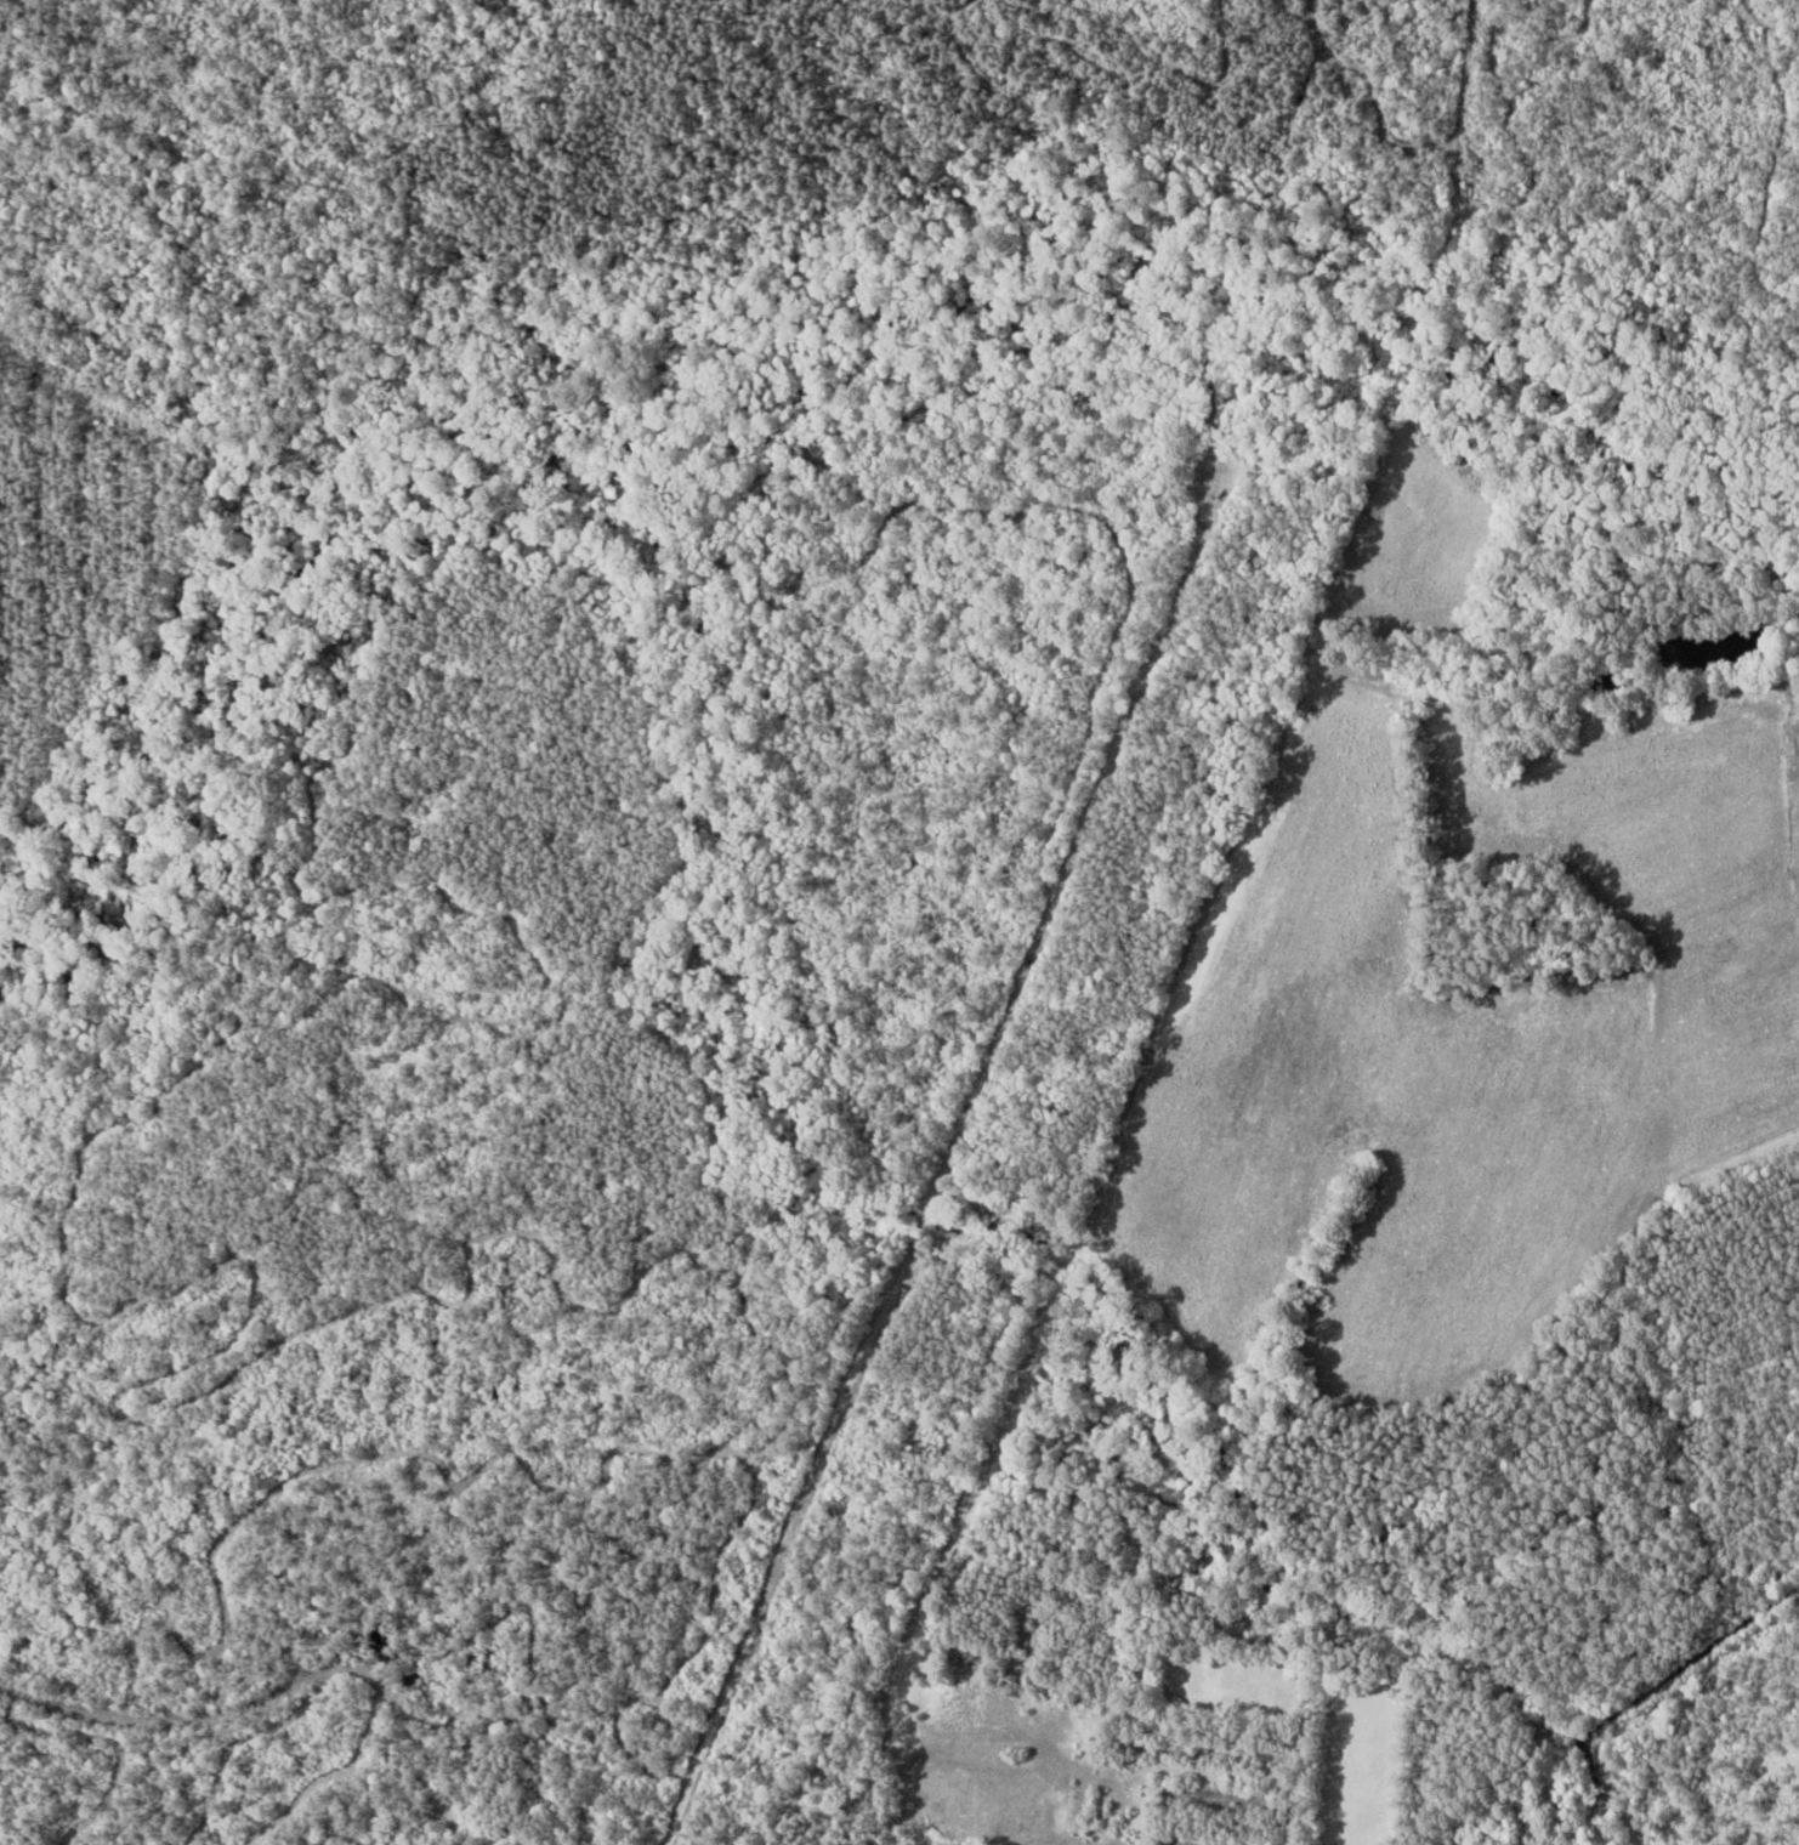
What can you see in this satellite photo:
road: (1222, 878)
road: (910, 1790)

